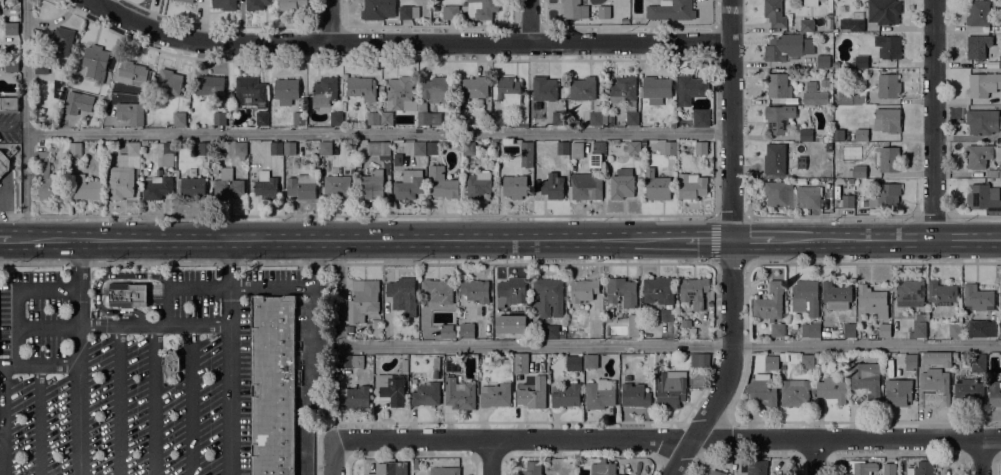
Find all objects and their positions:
building: (186, 1)
road: (95, 2)
building: (810, 3)
building: (224, 4)
building: (256, 4)
building: (291, 4)
building: (481, 8)
building: (377, 9)
building: (574, 9)
building: (670, 10)
building: (883, 11)
building: (408, 12)
building: (450, 12)
building: (603, 12)
building: (774, 13)
building: (978, 13)
building: (11, 15)
road: (330, 22)
road: (530, 22)
building: (852, 22)
building: (806, 25)
building: (1000, 25)
building: (11, 29)
building: (57, 41)
road: (403, 44)
building: (888, 46)
building: (787, 47)
building: (979, 47)
building: (93, 60)
building: (822, 61)
building: (860, 61)
building: (999, 61)
building: (11, 66)
building: (40, 67)
building: (132, 74)
building: (169, 82)
building: (824, 83)
building: (983, 84)
building: (209, 85)
building: (811, 85)
building: (778, 86)
building: (888, 86)
building: (361, 88)
building: (472, 88)
building: (544, 88)
building: (582, 89)
building: (655, 89)
building: (690, 89)
building: (436, 90)
building: (285, 91)
building: (507, 91)
building: (250, 92)
building: (324, 92)
building: (401, 93)
building: (625, 96)
building: (815, 98)
building: (857, 98)
building: (9, 105)
building: (68, 107)
building: (425, 115)
building: (597, 116)
building: (261, 118)
building: (299, 118)
building: (336, 118)
building: (373, 118)
building: (386, 118)
building: (498, 118)
building: (558, 118)
building: (693, 118)
road: (25, 119)
building: (136, 119)
building: (179, 119)
building: (219, 119)
building: (778, 119)
road: (932, 119)
building: (887, 120)
road: (13, 121)
building: (982, 121)
building: (520, 124)
building: (673, 125)
road: (377, 132)
building: (829, 134)
building: (838, 134)
building: (861, 134)
building: (805, 135)
building: (828, 146)
building: (240, 147)
building: (432, 147)
building: (563, 147)
building: (632, 147)
building: (670, 147)
building: (74, 148)
building: (201, 148)
building: (276, 148)
building: (289, 148)
building: (325, 148)
building: (378, 148)
building: (419, 148)
building: (468, 148)
building: (701, 148)
building: (133, 149)
building: (576, 150)
building: (596, 153)
building: (169, 154)
building: (526, 154)
building: (978, 155)
building: (242, 158)
building: (774, 158)
building: (398, 159)
building: (886, 159)
building: (5, 160)
building: (800, 161)
building: (859, 171)
building: (1000, 171)
building: (992, 173)
building: (827, 174)
building: (47, 178)
building: (119, 181)
building: (799, 181)
building: (442, 183)
building: (622, 183)
building: (227, 184)
building: (372, 184)
building: (408, 184)
building: (479, 184)
building: (265, 185)
building: (514, 185)
building: (658, 185)
building: (301, 186)
building: (336, 186)
building: (553, 186)
building: (586, 186)
building: (691, 186)
building: (84, 187)
building: (156, 187)
building: (193, 187)
building: (821, 187)
building: (778, 193)
building: (808, 196)
building: (883, 196)
building: (984, 197)
building: (848, 201)
building: (874, 211)
road: (356, 215)
road: (500, 239)
road: (731, 245)
road: (78, 263)
road: (224, 263)
road: (356, 263)
road: (730, 263)
road: (873, 263)
building: (1000, 282)
road: (196, 287)
road: (269, 287)
building: (437, 290)
building: (475, 290)
building: (583, 290)
building: (658, 290)
building: (694, 290)
building: (510, 291)
building: (621, 291)
building: (909, 293)
building: (941, 293)
building: (403, 294)
building: (126, 295)
building: (835, 295)
building: (548, 297)
building: (805, 297)
building: (977, 299)
building: (363, 300)
building: (872, 301)
building: (769, 303)
road: (746, 304)
road: (167, 306)
building: (608, 312)
building: (666, 314)
building: (837, 317)
building: (509, 324)
building: (919, 325)
road: (122, 326)
building: (633, 326)
building: (594, 327)
road: (16, 328)
building: (981, 328)
building: (466, 330)
building: (777, 330)
building: (810, 330)
building: (849, 330)
building: (883, 330)
building: (954, 330)
building: (551, 332)
building: (447, 335)
building: (572, 335)
road: (616, 345)
building: (954, 355)
road: (312, 357)
building: (782, 357)
building: (937, 358)
building: (487, 359)
building: (807, 359)
building: (656, 360)
building: (699, 360)
building: (350, 361)
building: (590, 361)
building: (910, 362)
building: (171, 363)
building: (436, 363)
building: (520, 363)
building: (573, 363)
building: (771, 363)
building: (978, 363)
road: (1, 365)
road: (9, 365)
building: (404, 365)
building: (451, 365)
parking lot: (126, 371)
building: (436, 375)
building: (866, 377)
road: (228, 380)
road: (78, 382)
building: (273, 385)
building: (670, 387)
building: (390, 388)
building: (934, 388)
building: (831, 389)
building: (969, 389)
building: (762, 392)
building: (794, 392)
building: (897, 392)
building: (994, 393)
building: (425, 394)
building: (459, 394)
building: (600, 394)
building: (495, 395)
building: (565, 395)
building: (634, 395)
building: (532, 396)
building: (354, 397)
road: (118, 400)
road: (154, 400)
road: (191, 400)
road: (3, 420)
road: (38, 420)
road: (1, 438)
road: (511, 438)
road: (845, 438)
road: (332, 456)
road: (490, 456)
road: (814, 456)
road: (980, 457)
building: (415, 463)
building: (390, 468)
building: (532, 468)
building: (756, 468)
building: (920, 468)
building: (603, 469)
building: (860, 469)
building: (889, 469)
building: (444, 471)
building: (716, 473)

